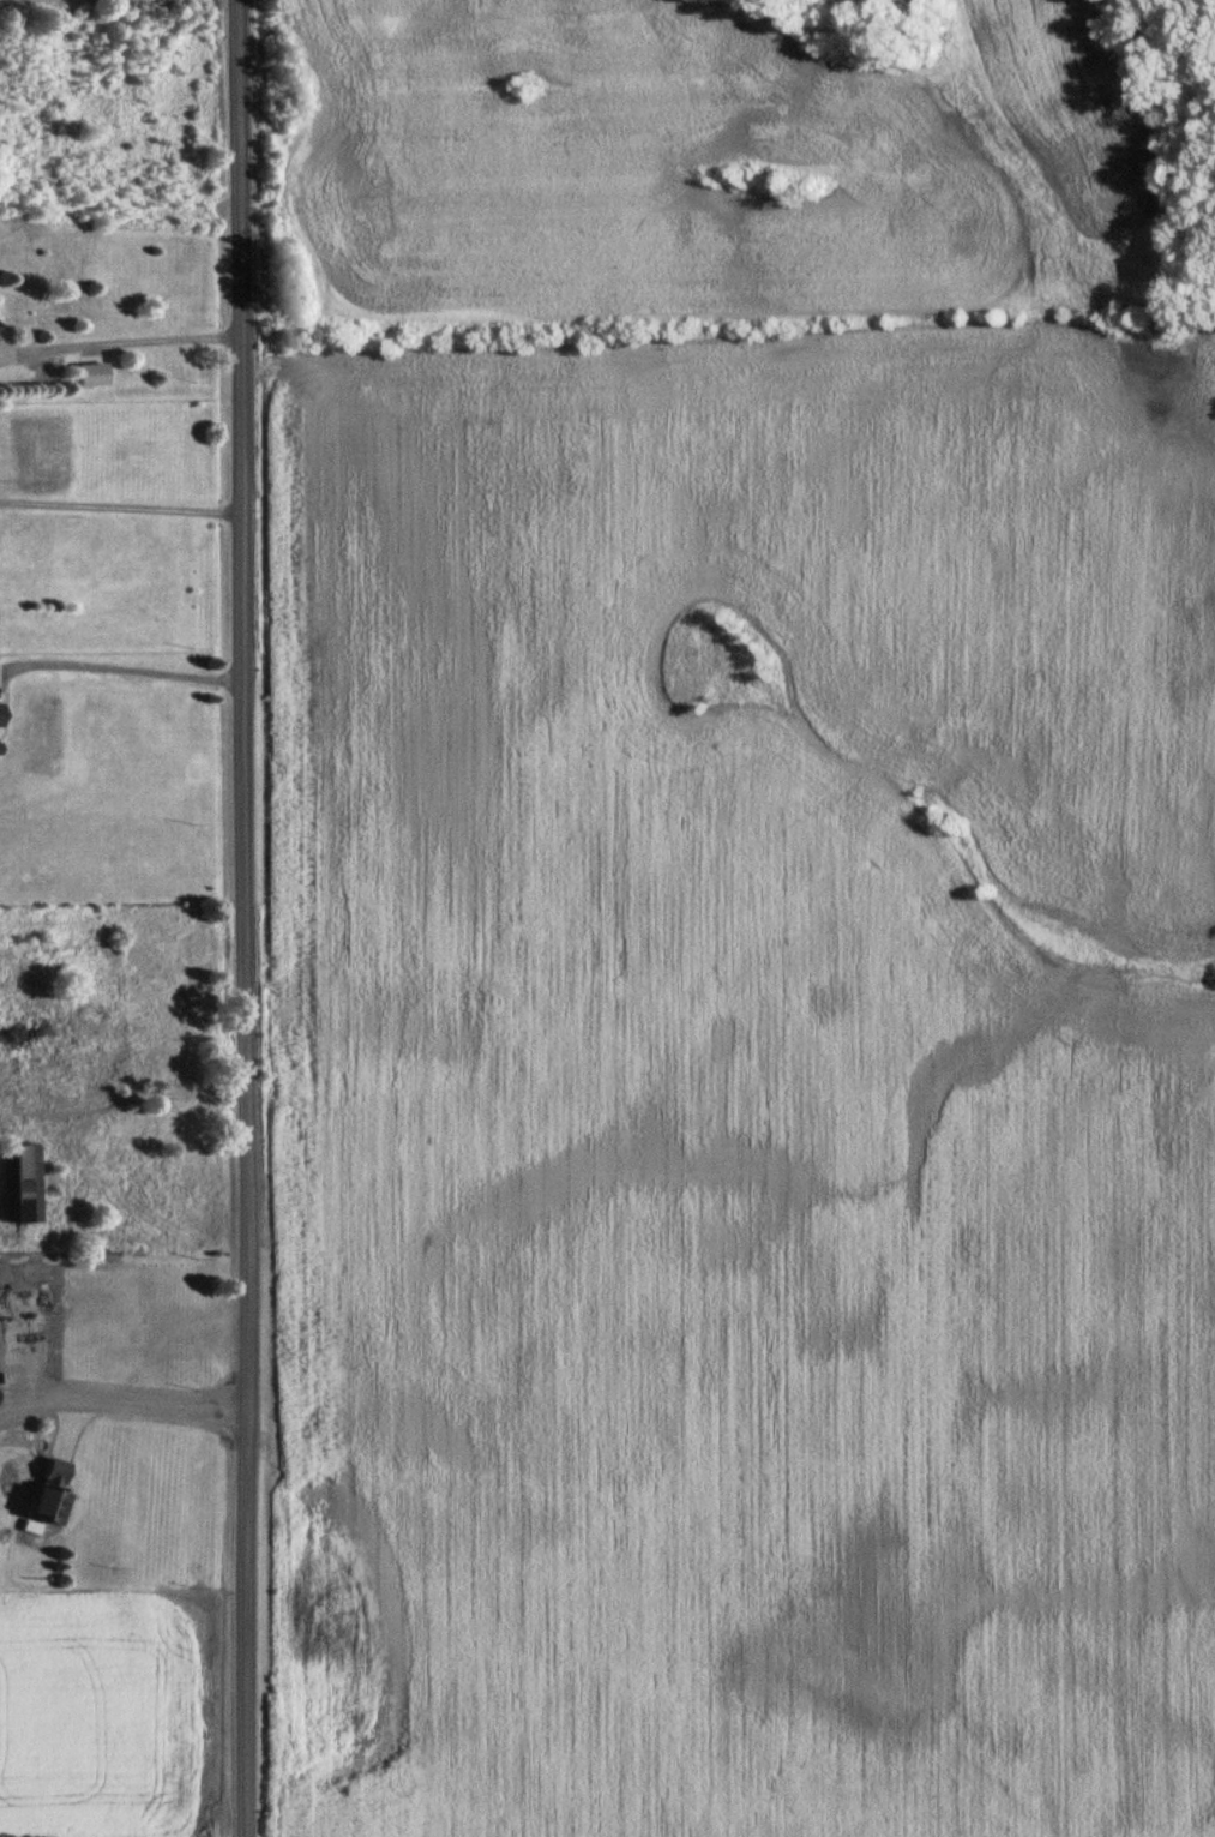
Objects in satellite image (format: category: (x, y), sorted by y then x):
road: (132, 346)
road: (121, 511)
road: (121, 674)
road: (243, 918)
building: (55, 1080)
road: (134, 1099)
building: (16, 1183)
road: (160, 1409)
building: (47, 1470)
building: (40, 1503)

